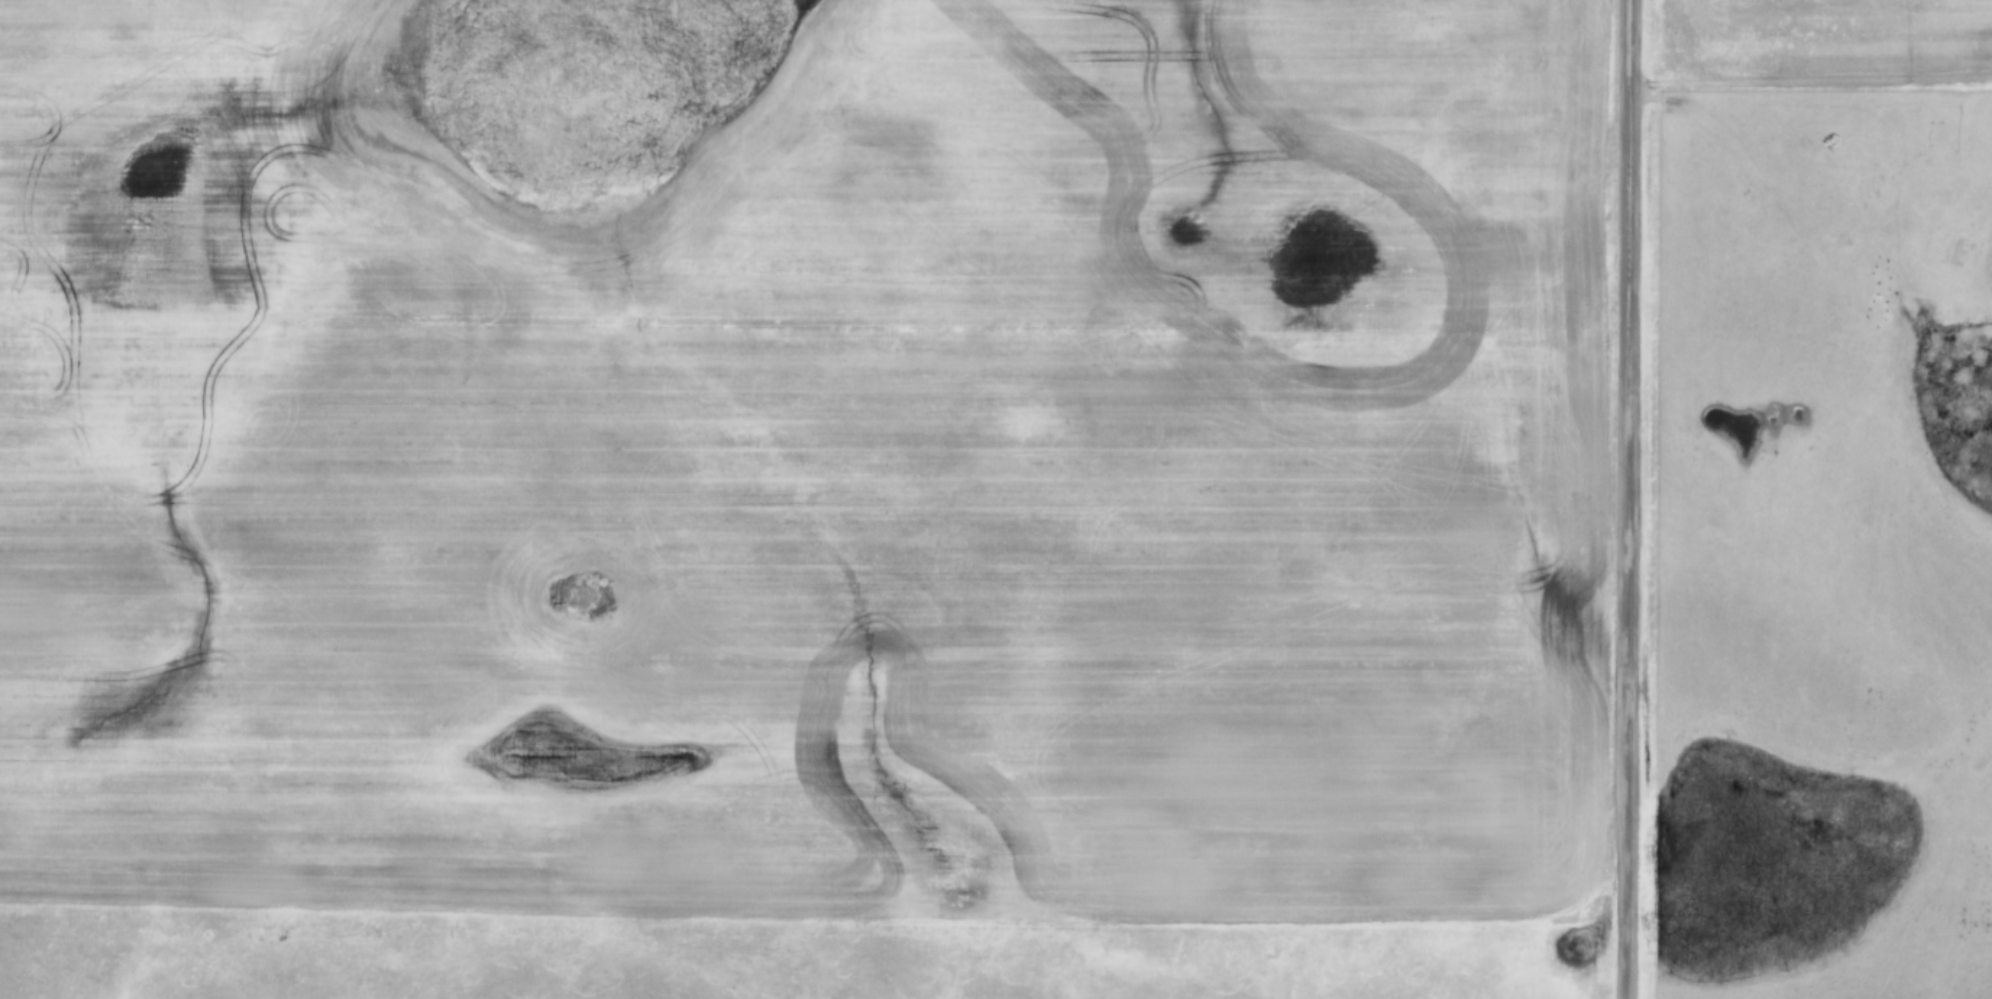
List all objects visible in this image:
road: (1631, 499)

